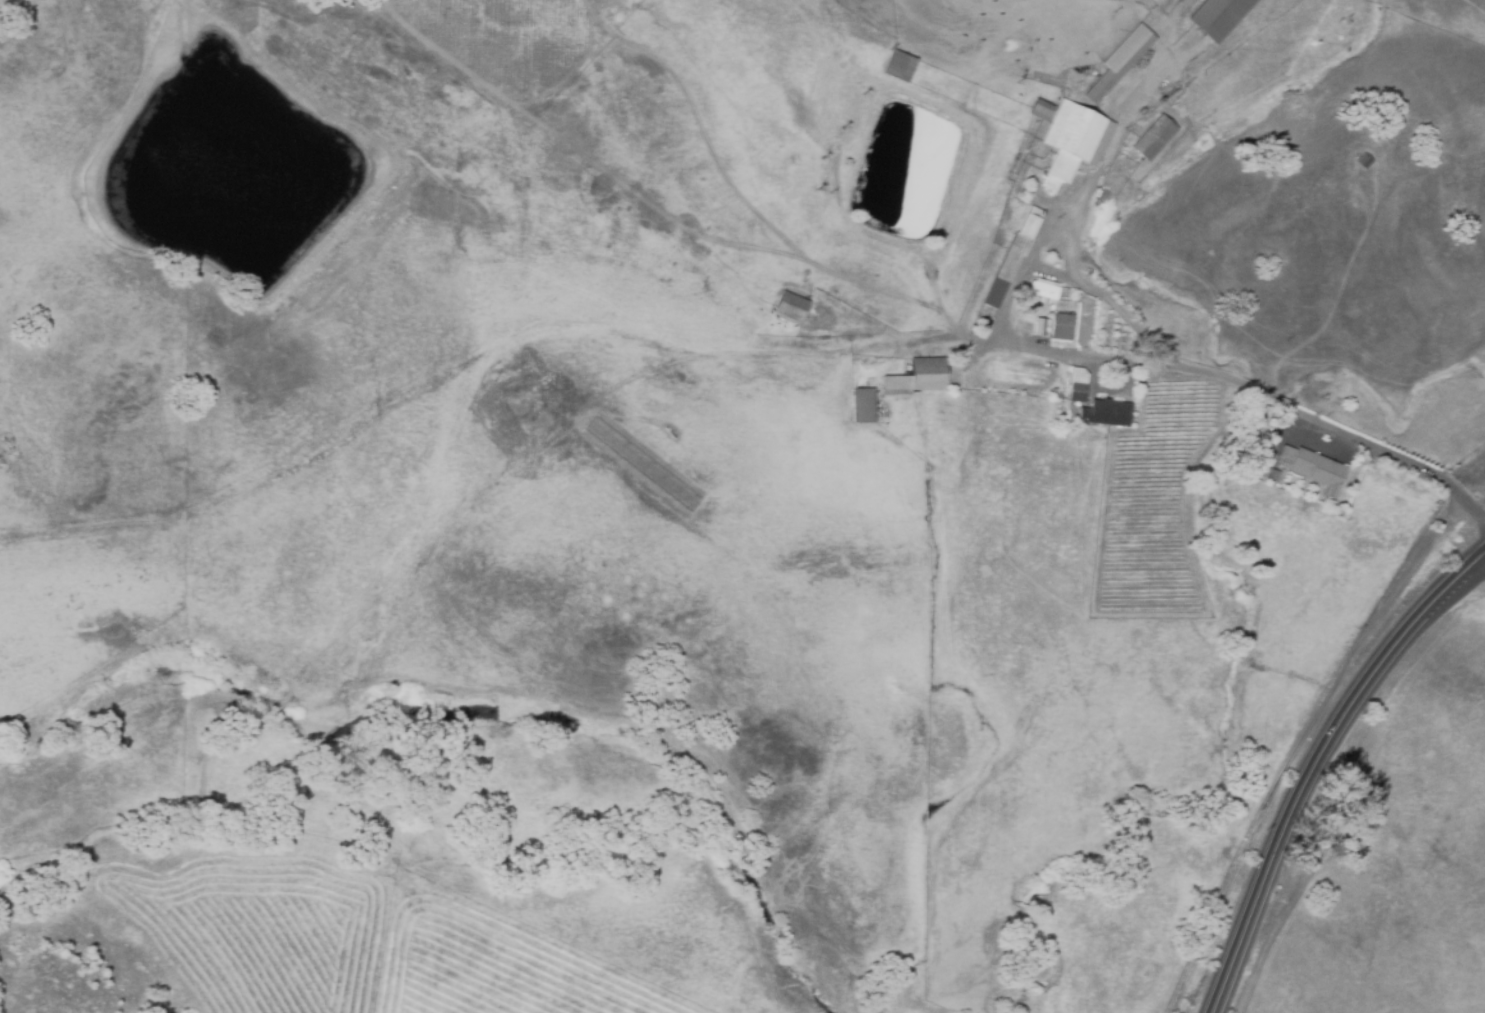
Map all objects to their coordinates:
building: (1218, 16)
building: (1122, 61)
building: (906, 71)
building: (1074, 139)
building: (1155, 139)
road: (1086, 192)
building: (1016, 264)
building: (1049, 297)
building: (789, 307)
building: (1065, 329)
building: (1045, 331)
building: (919, 378)
road: (1257, 391)
building: (1079, 394)
building: (868, 405)
building: (1113, 411)
building: (1317, 468)
building: (1276, 479)
road: (1313, 761)

